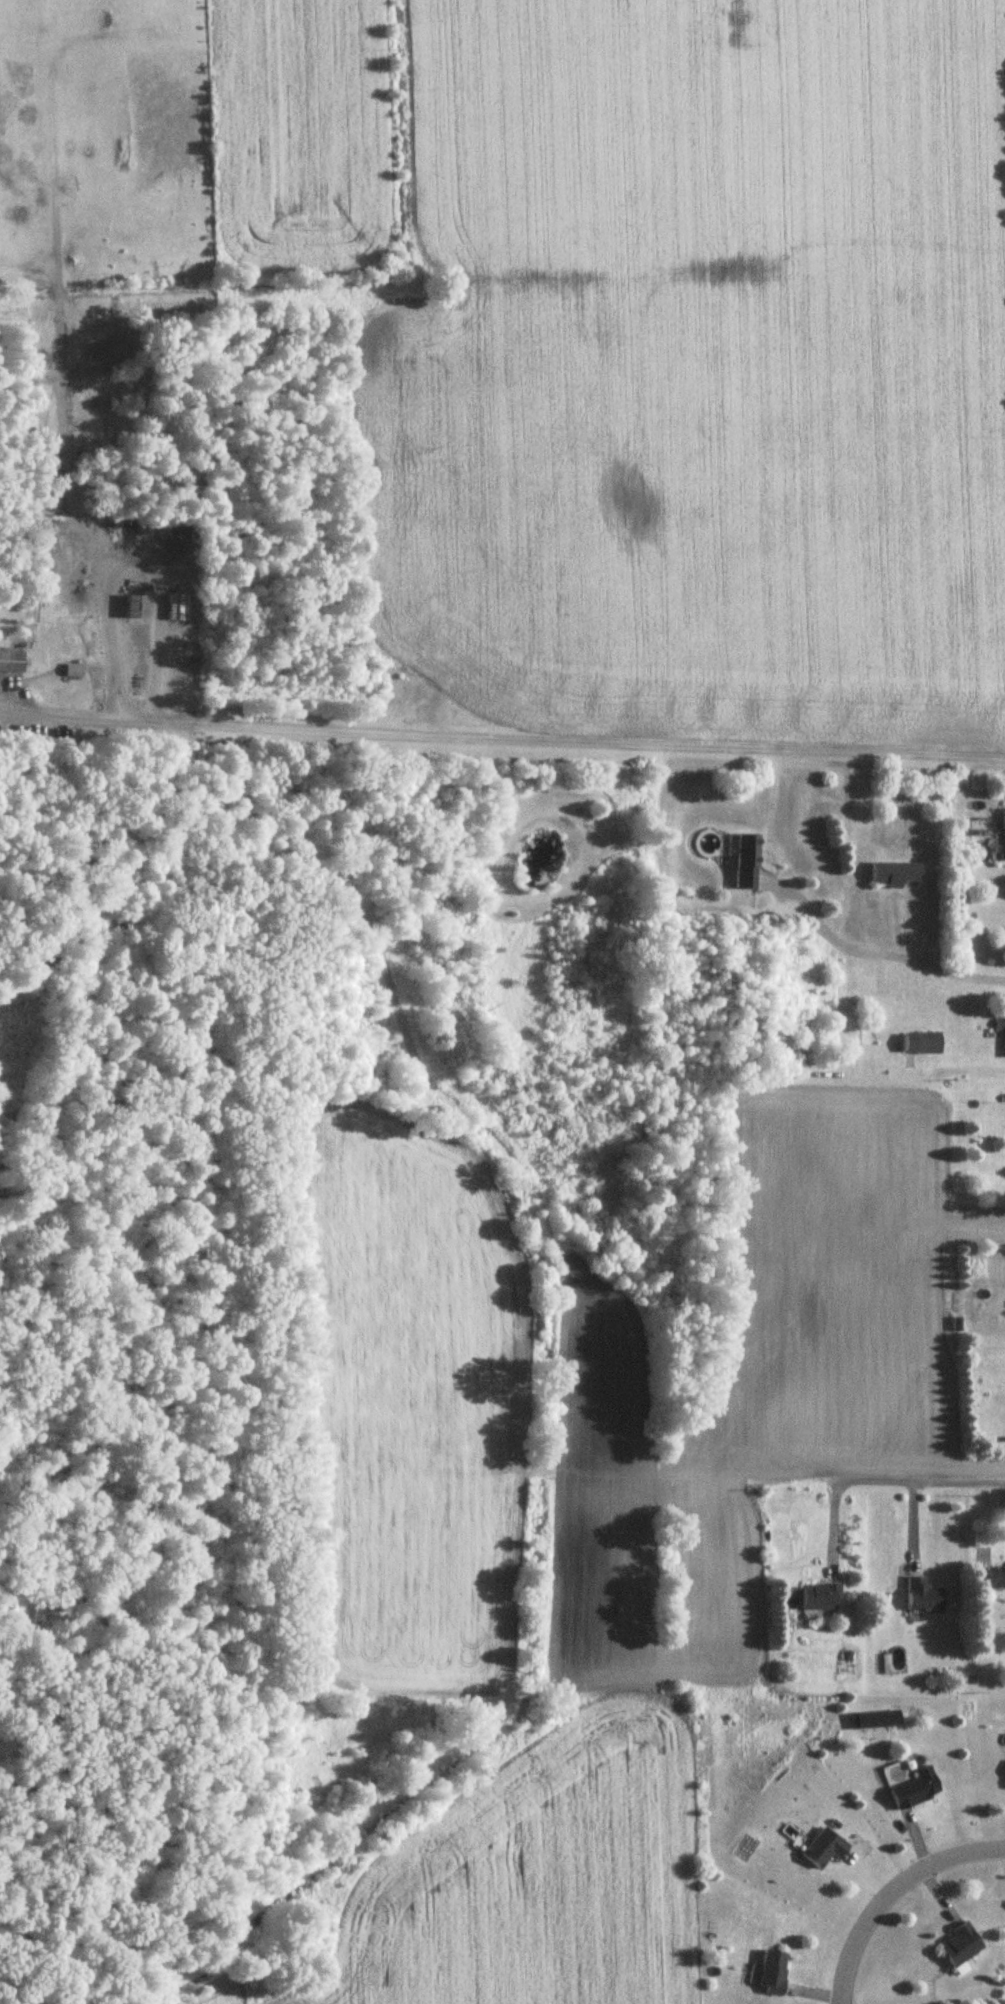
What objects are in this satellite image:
road: (129, 551)
building: (131, 603)
building: (175, 608)
building: (11, 662)
building: (72, 671)
road: (511, 736)
building: (1004, 827)
building: (746, 861)
building: (893, 874)
road: (884, 954)
building: (999, 1029)
building: (921, 1043)
road: (959, 1067)
road: (876, 1481)
building: (923, 1596)
building: (821, 1597)
building: (911, 1795)
building: (824, 1848)
road: (890, 1892)
building: (961, 1944)
building: (772, 1973)

